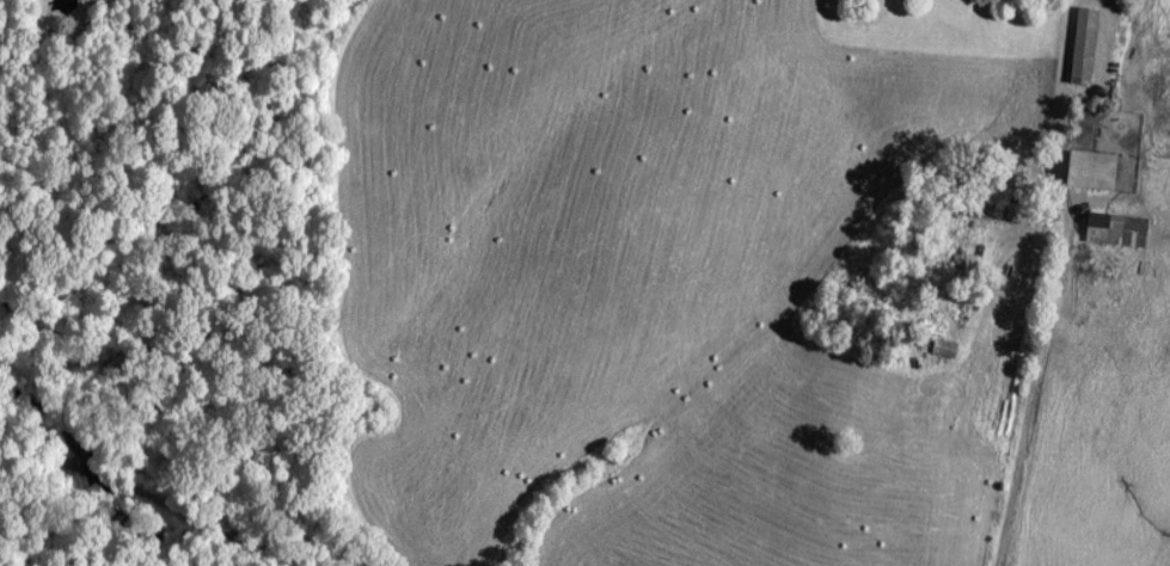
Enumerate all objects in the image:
building: (1084, 42)
building: (1098, 166)
building: (986, 209)
building: (1109, 224)
building: (1025, 248)
road: (1045, 284)
building: (958, 302)
building: (944, 345)

